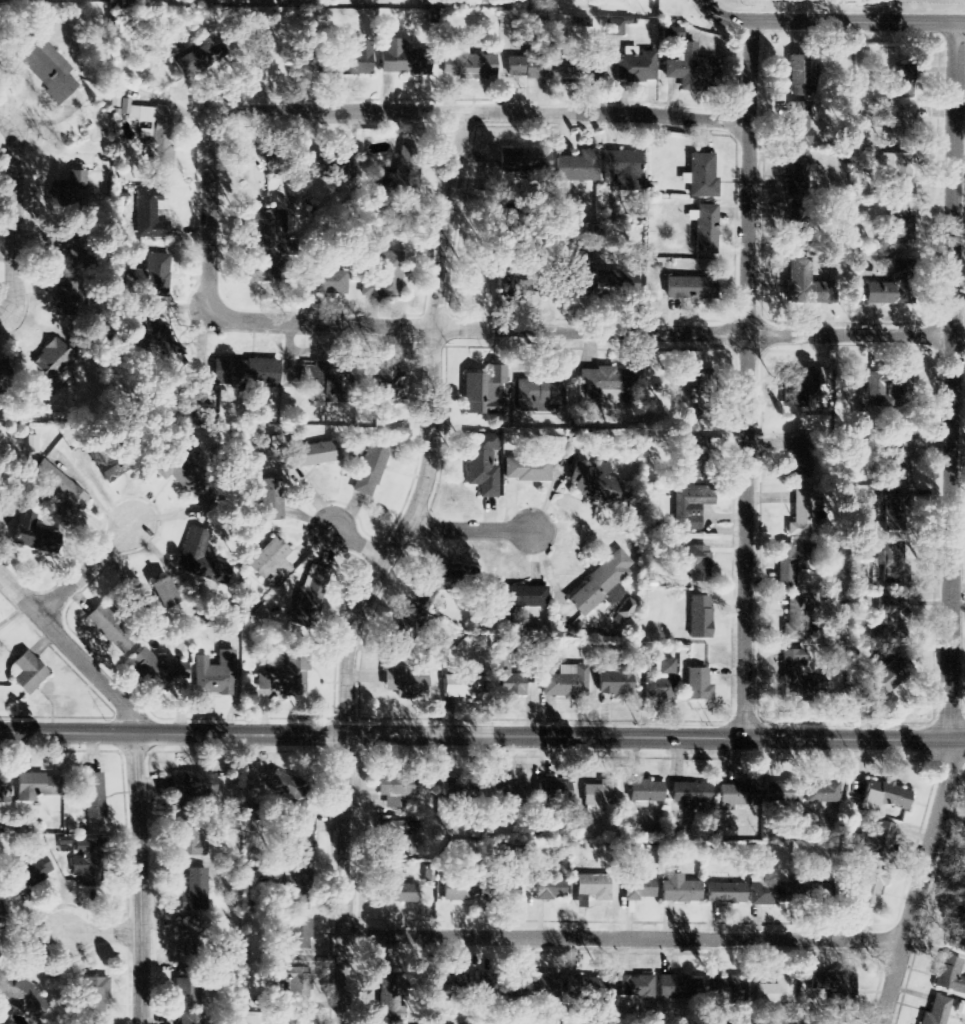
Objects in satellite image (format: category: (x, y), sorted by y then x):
park: (851, 5)
road: (721, 17)
road: (857, 21)
building: (616, 26)
building: (197, 58)
building: (403, 60)
building: (353, 61)
building: (469, 66)
building: (634, 66)
building: (528, 67)
building: (46, 69)
building: (693, 72)
building: (802, 72)
building: (903, 75)
building: (119, 106)
road: (485, 113)
building: (798, 123)
building: (901, 126)
building: (156, 132)
building: (265, 161)
building: (326, 162)
building: (517, 162)
building: (577, 168)
building: (623, 169)
building: (899, 172)
building: (404, 173)
building: (797, 173)
building: (700, 177)
building: (70, 187)
road: (210, 211)
building: (149, 216)
building: (902, 225)
road: (30, 227)
building: (706, 230)
building: (269, 244)
building: (388, 274)
building: (581, 277)
building: (324, 282)
building: (615, 285)
building: (510, 287)
building: (886, 287)
building: (690, 288)
building: (811, 289)
building: (61, 300)
road: (581, 331)
building: (152, 337)
road: (432, 340)
building: (52, 367)
building: (4, 373)
building: (245, 373)
building: (325, 378)
road: (747, 379)
building: (607, 383)
building: (900, 383)
building: (702, 384)
building: (800, 384)
building: (386, 386)
building: (870, 391)
building: (484, 392)
building: (540, 394)
building: (32, 445)
building: (308, 454)
building: (901, 457)
building: (693, 458)
building: (801, 459)
building: (482, 464)
building: (372, 465)
building: (105, 470)
building: (527, 470)
building: (181, 474)
building: (595, 483)
building: (61, 495)
building: (270, 500)
building: (690, 506)
building: (893, 510)
building: (802, 514)
road: (953, 527)
road: (469, 529)
building: (33, 535)
road: (356, 541)
building: (201, 559)
building: (693, 561)
building: (271, 563)
building: (793, 563)
building: (894, 565)
road: (86, 572)
building: (443, 579)
building: (599, 583)
building: (160, 595)
building: (519, 598)
building: (309, 599)
building: (894, 612)
building: (700, 618)
building: (797, 620)
building: (107, 624)
building: (411, 626)
building: (28, 673)
building: (216, 675)
building: (279, 678)
building: (889, 679)
building: (802, 681)
building: (616, 682)
building: (663, 682)
building: (566, 683)
building: (406, 685)
building: (462, 685)
building: (512, 685)
building: (699, 685)
road: (482, 735)
road: (134, 774)
building: (39, 785)
building: (193, 785)
building: (281, 785)
road: (343, 787)
building: (6, 788)
building: (460, 788)
building: (394, 790)
building: (553, 791)
building: (502, 792)
building: (645, 793)
building: (691, 793)
building: (821, 793)
building: (774, 794)
building: (737, 795)
building: (93, 796)
building: (599, 796)
building: (884, 796)
building: (399, 836)
building: (299, 842)
building: (879, 842)
building: (191, 844)
building: (88, 861)
building: (29, 873)
building: (964, 881)
building: (399, 889)
building: (549, 889)
building: (591, 889)
building: (639, 889)
building: (459, 890)
building: (680, 890)
building: (195, 891)
building: (726, 893)
building: (771, 894)
building: (958, 929)
road: (103, 933)
building: (188, 933)
building: (299, 934)
building: (2, 935)
road: (621, 941)
building: (949, 975)
building: (296, 979)
building: (446, 983)
building: (539, 986)
building: (577, 987)
building: (633, 987)
building: (679, 988)
building: (727, 990)
building: (494, 991)
building: (776, 992)
building: (95, 997)
building: (187, 997)
building: (23, 998)
building: (602, 998)
building: (937, 1011)
building: (188, 1020)
building: (296, 1020)

